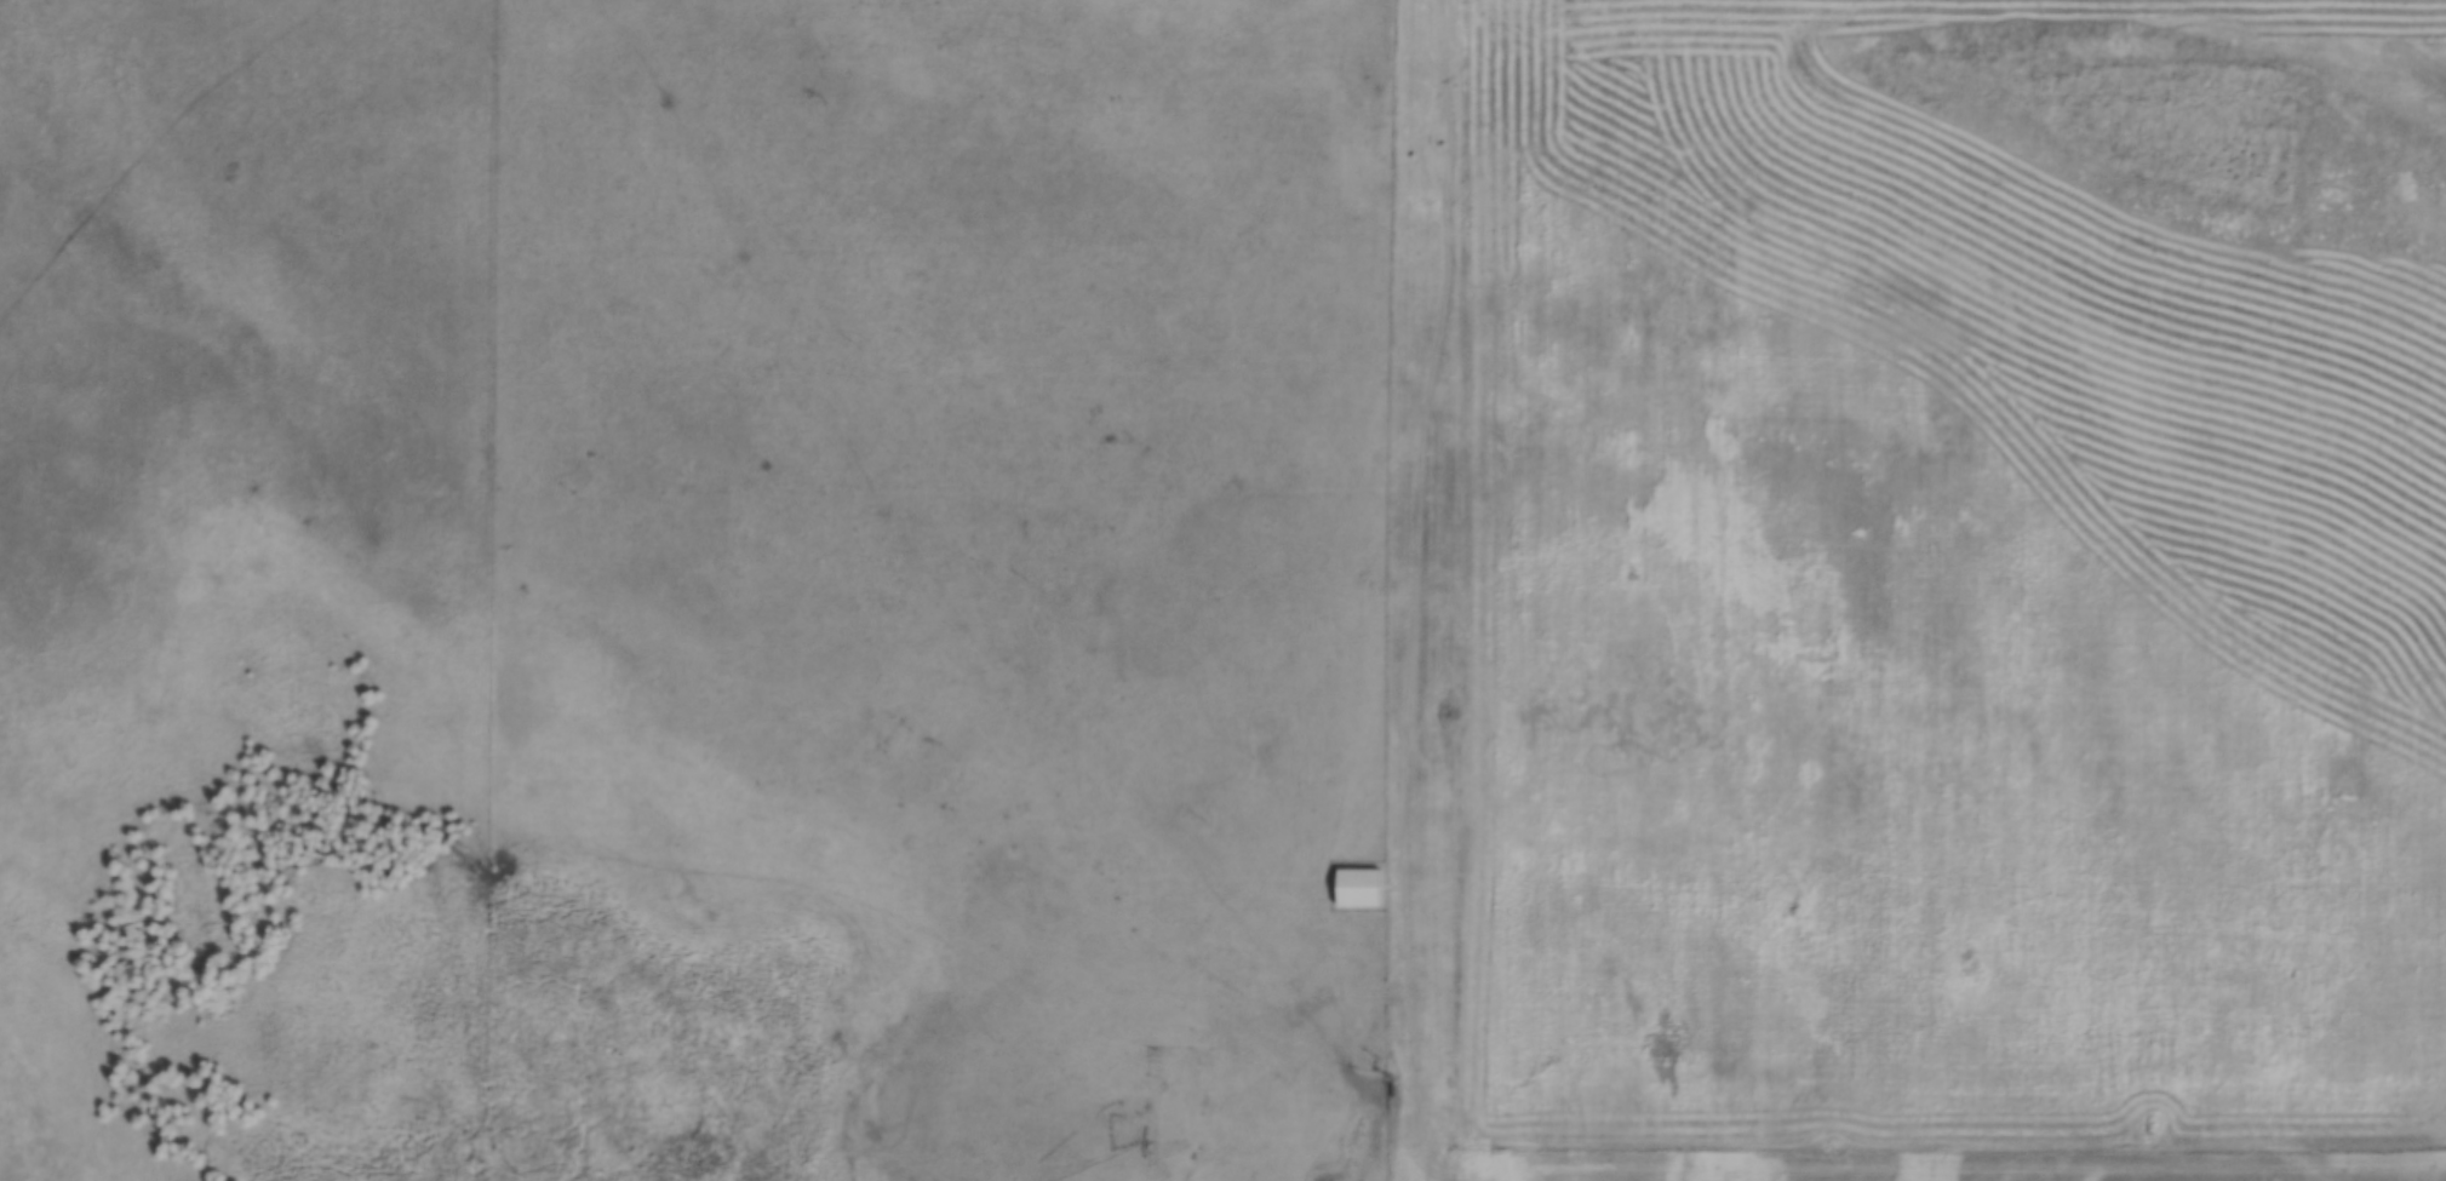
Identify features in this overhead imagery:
building: (1359, 885)

